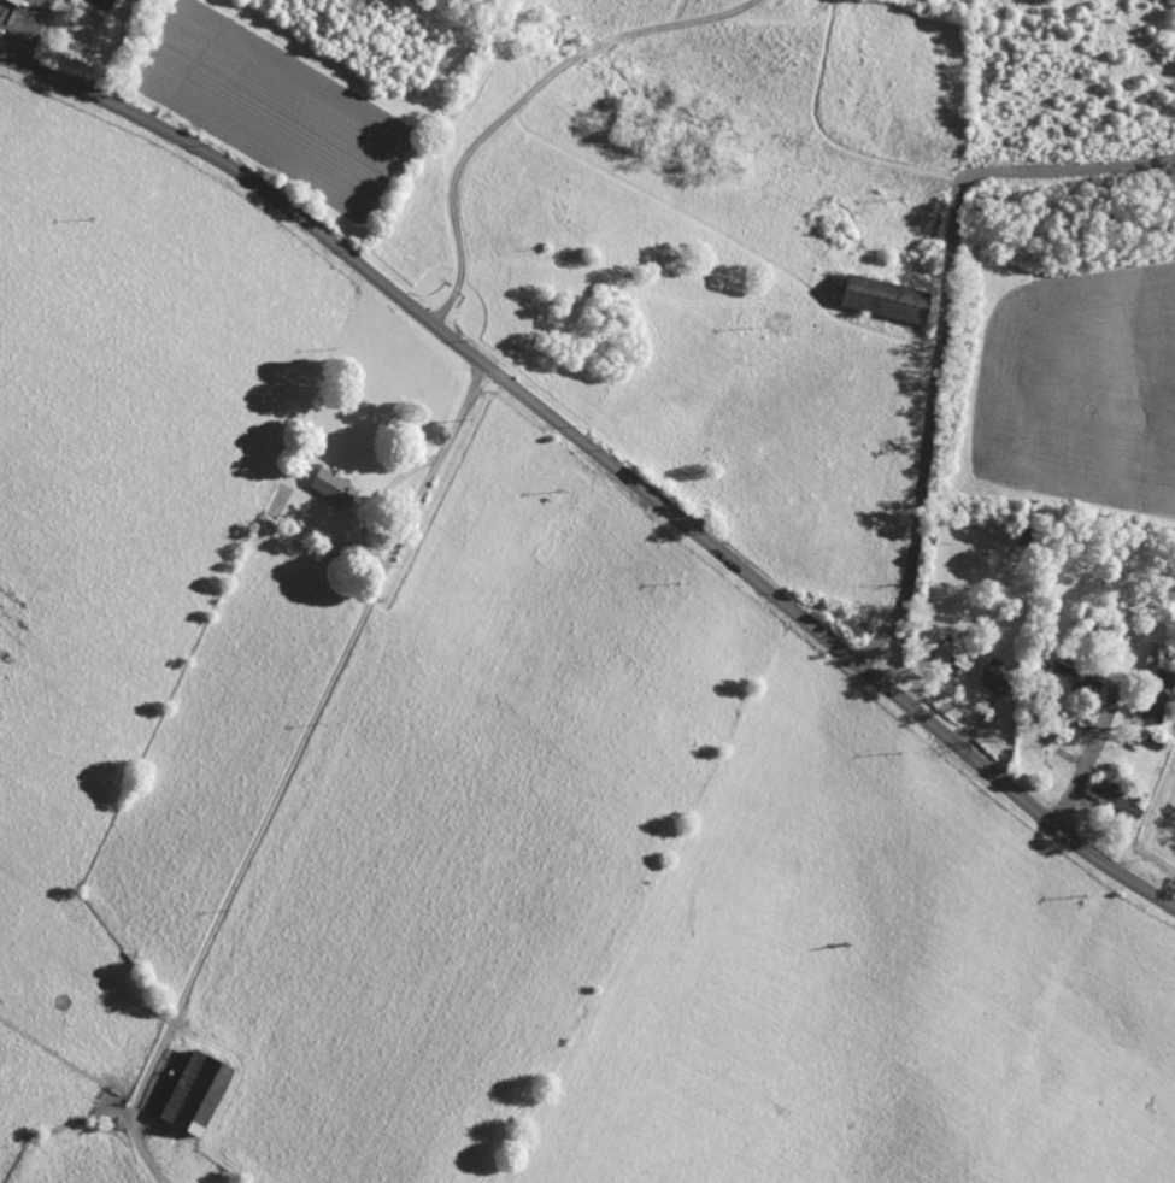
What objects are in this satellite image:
building: (104, 2)
building: (7, 10)
road: (31, 31)
road: (519, 100)
building: (883, 299)
road: (941, 320)
wastewater plant: (1080, 388)
road: (601, 460)
building: (333, 485)
building: (952, 648)
building: (995, 675)
building: (1073, 677)
building: (1156, 696)
road: (1087, 764)
road: (284, 773)
building: (1114, 799)
wastewater plant: (1159, 826)
building: (195, 1093)

